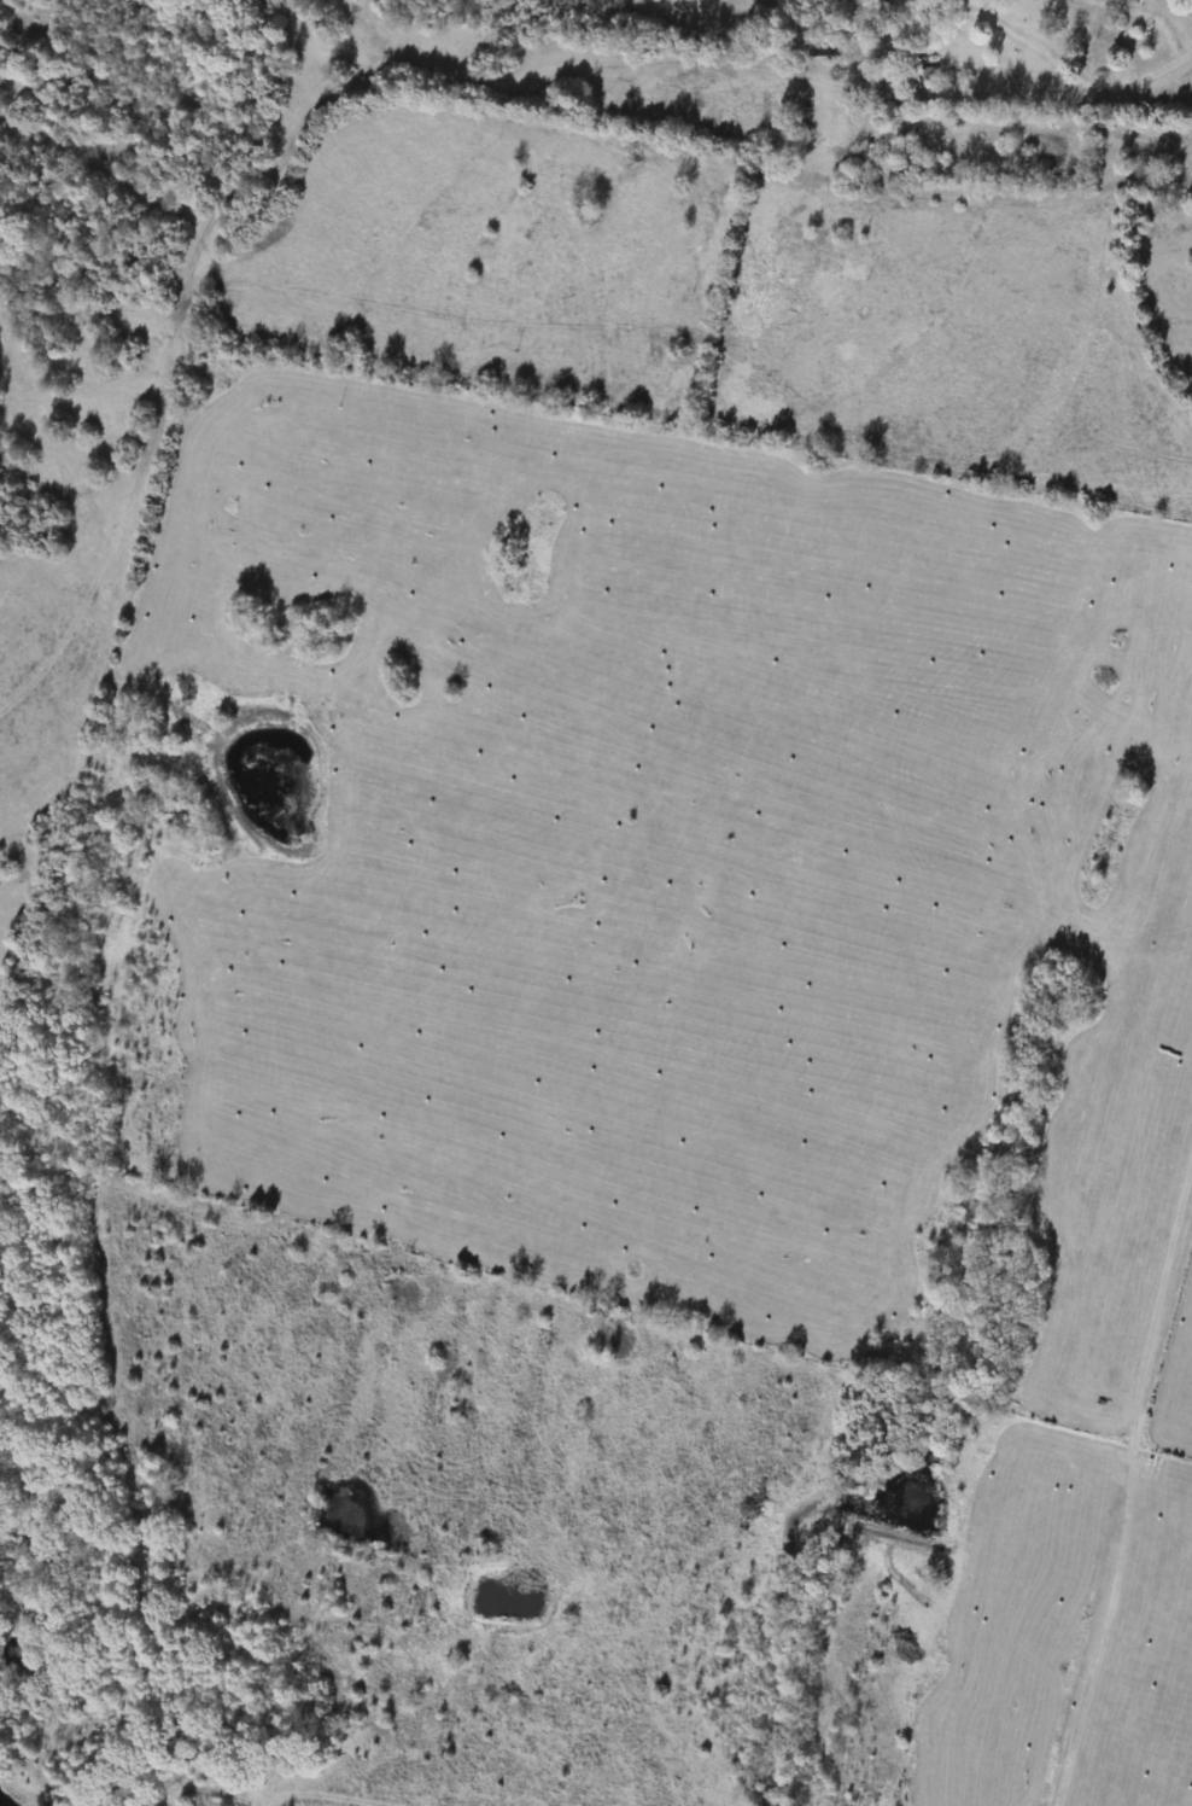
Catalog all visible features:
road: (1063, 92)

